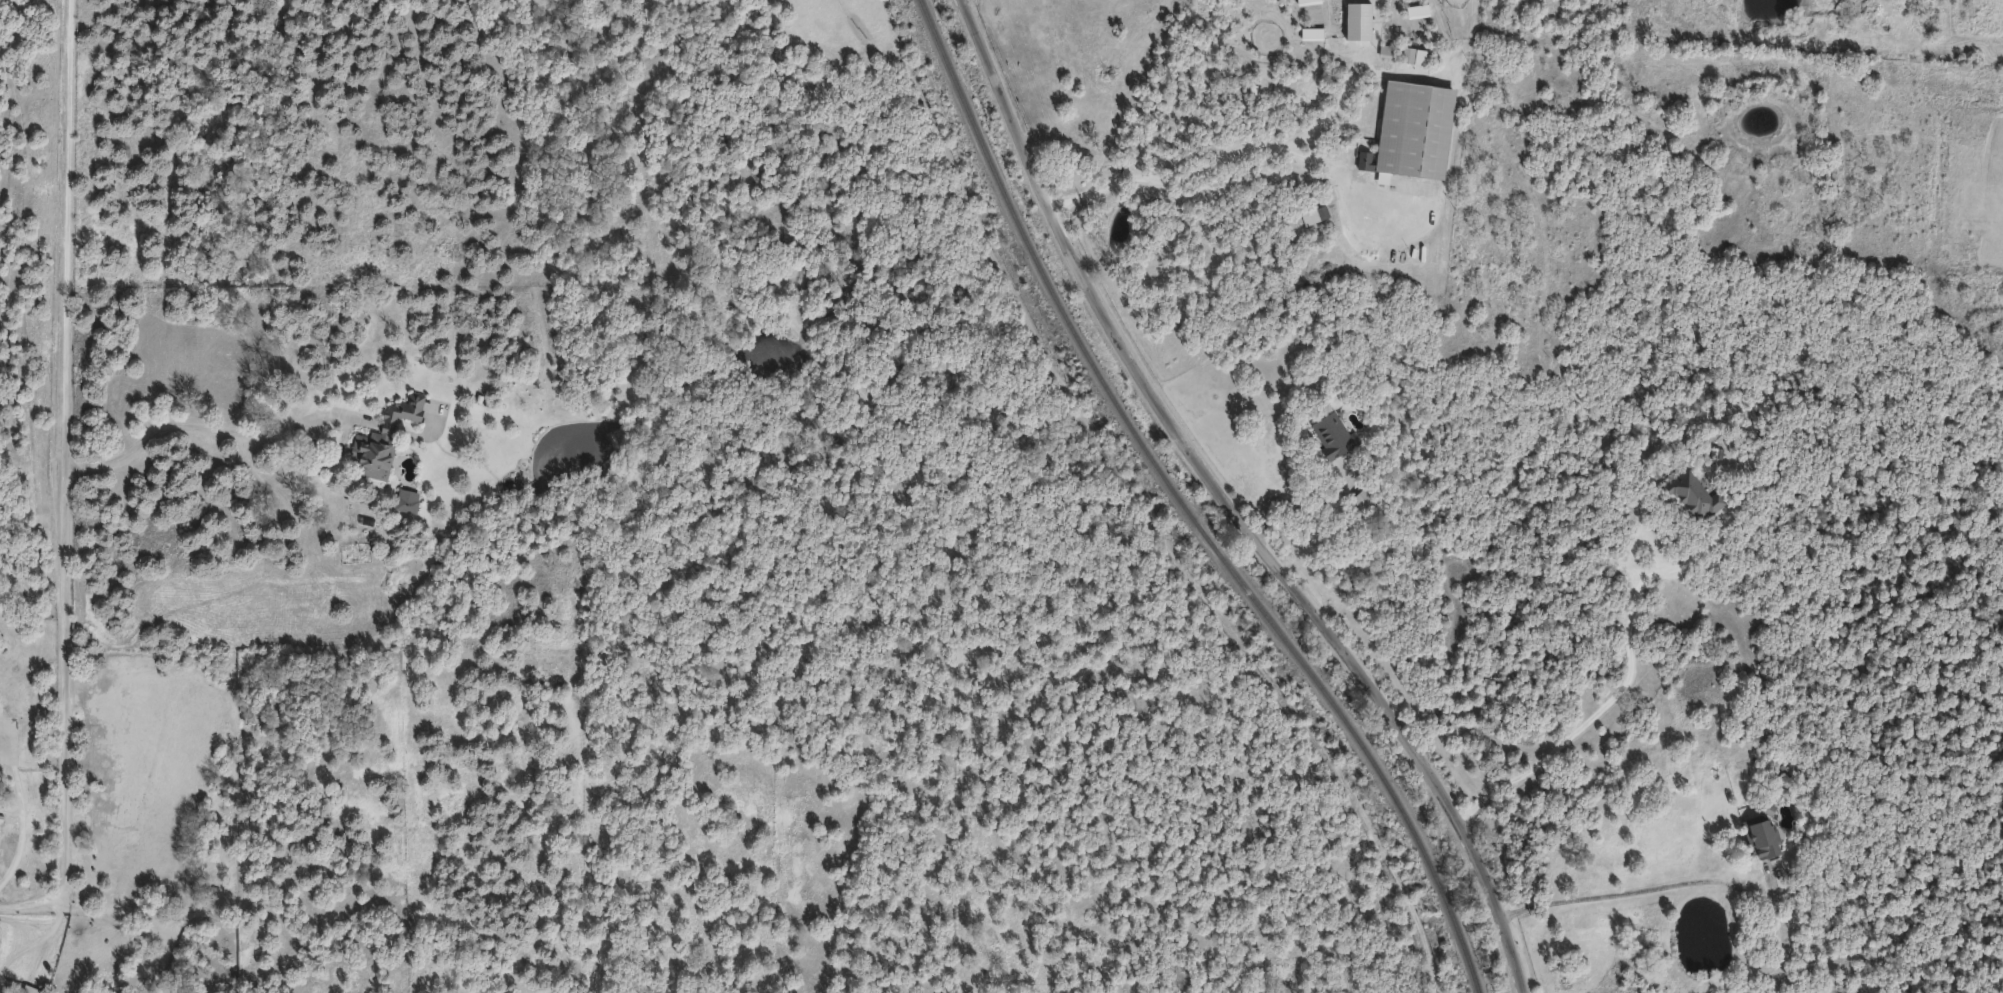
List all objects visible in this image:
building: (1383, 49)
building: (1407, 53)
building: (1411, 128)
road: (1235, 149)
road: (201, 427)
building: (1331, 434)
building: (381, 435)
road: (64, 480)
building: (1692, 495)
building: (1361, 499)
building: (403, 500)
road: (1236, 502)
railway: (1183, 506)
road: (1616, 695)
building: (1756, 836)
road: (1635, 887)
building: (28, 989)

